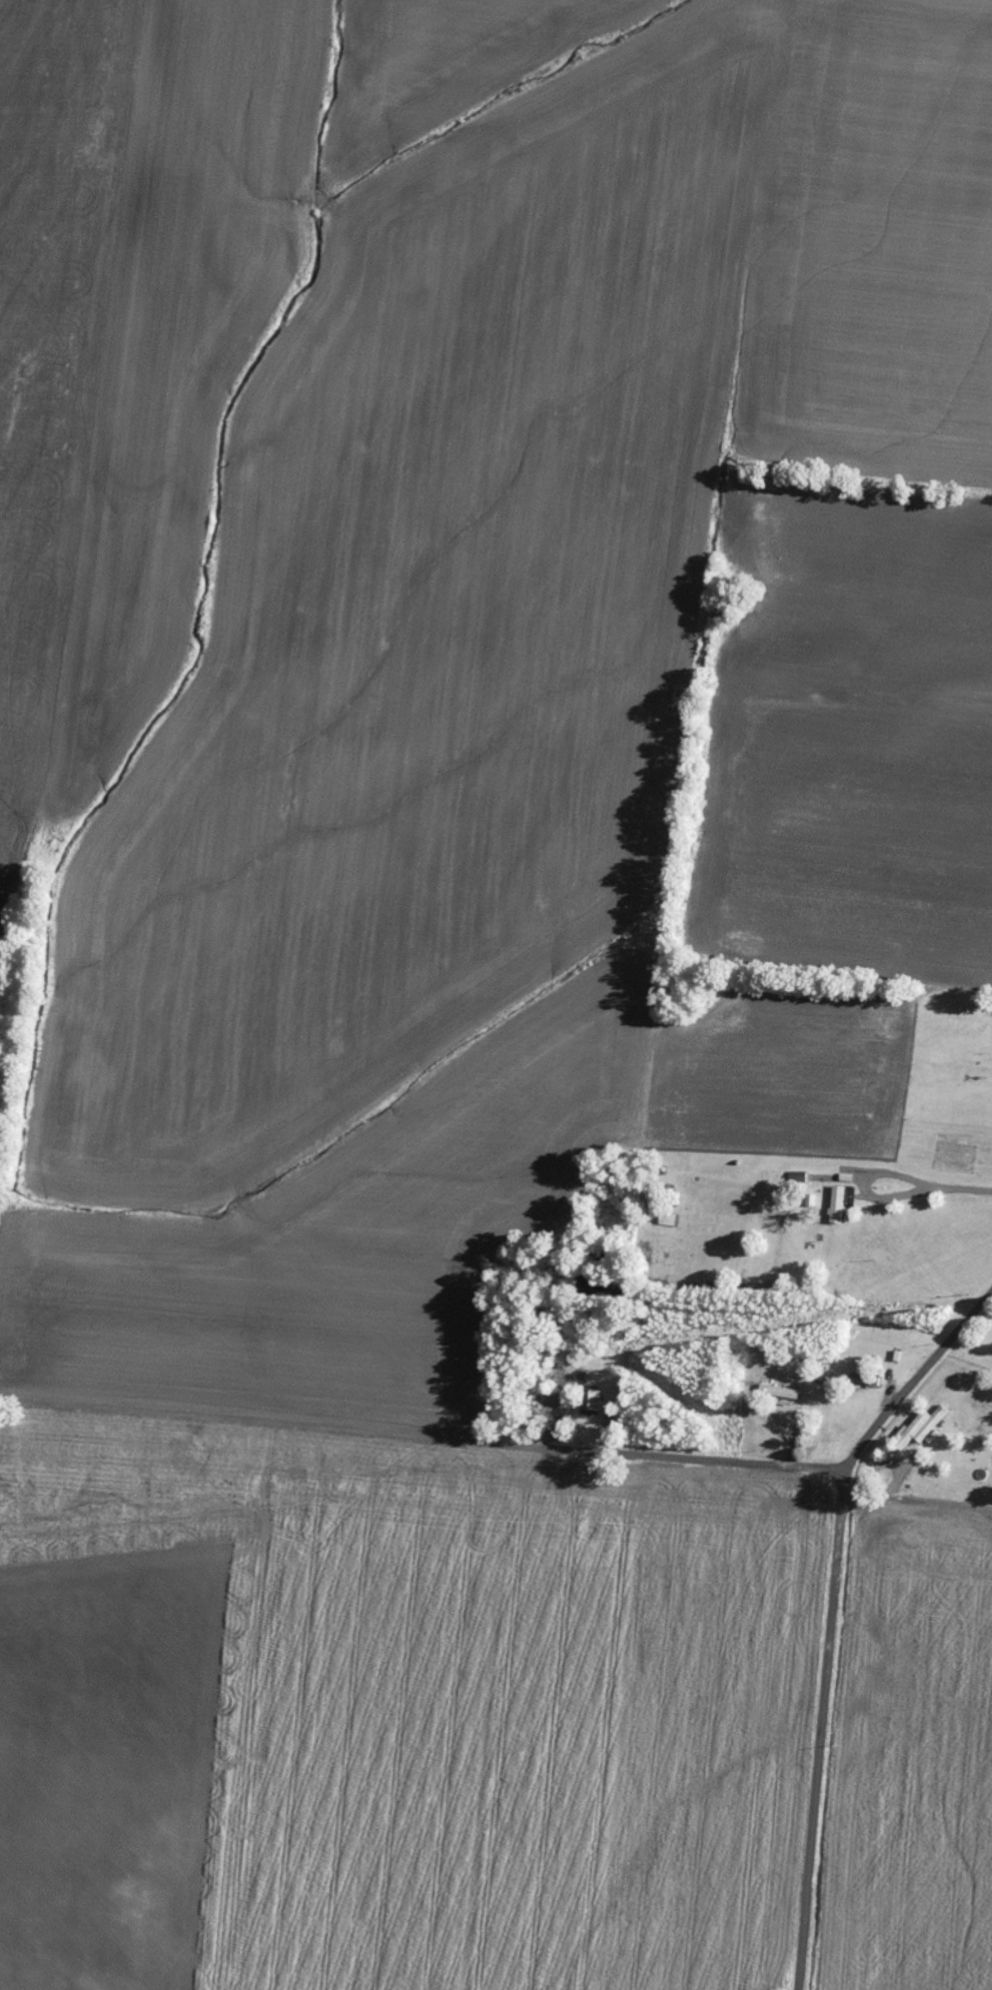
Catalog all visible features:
building: (841, 1203)
building: (785, 1393)
building: (594, 1401)
building: (920, 1429)
road: (427, 1439)
road: (834, 1619)

